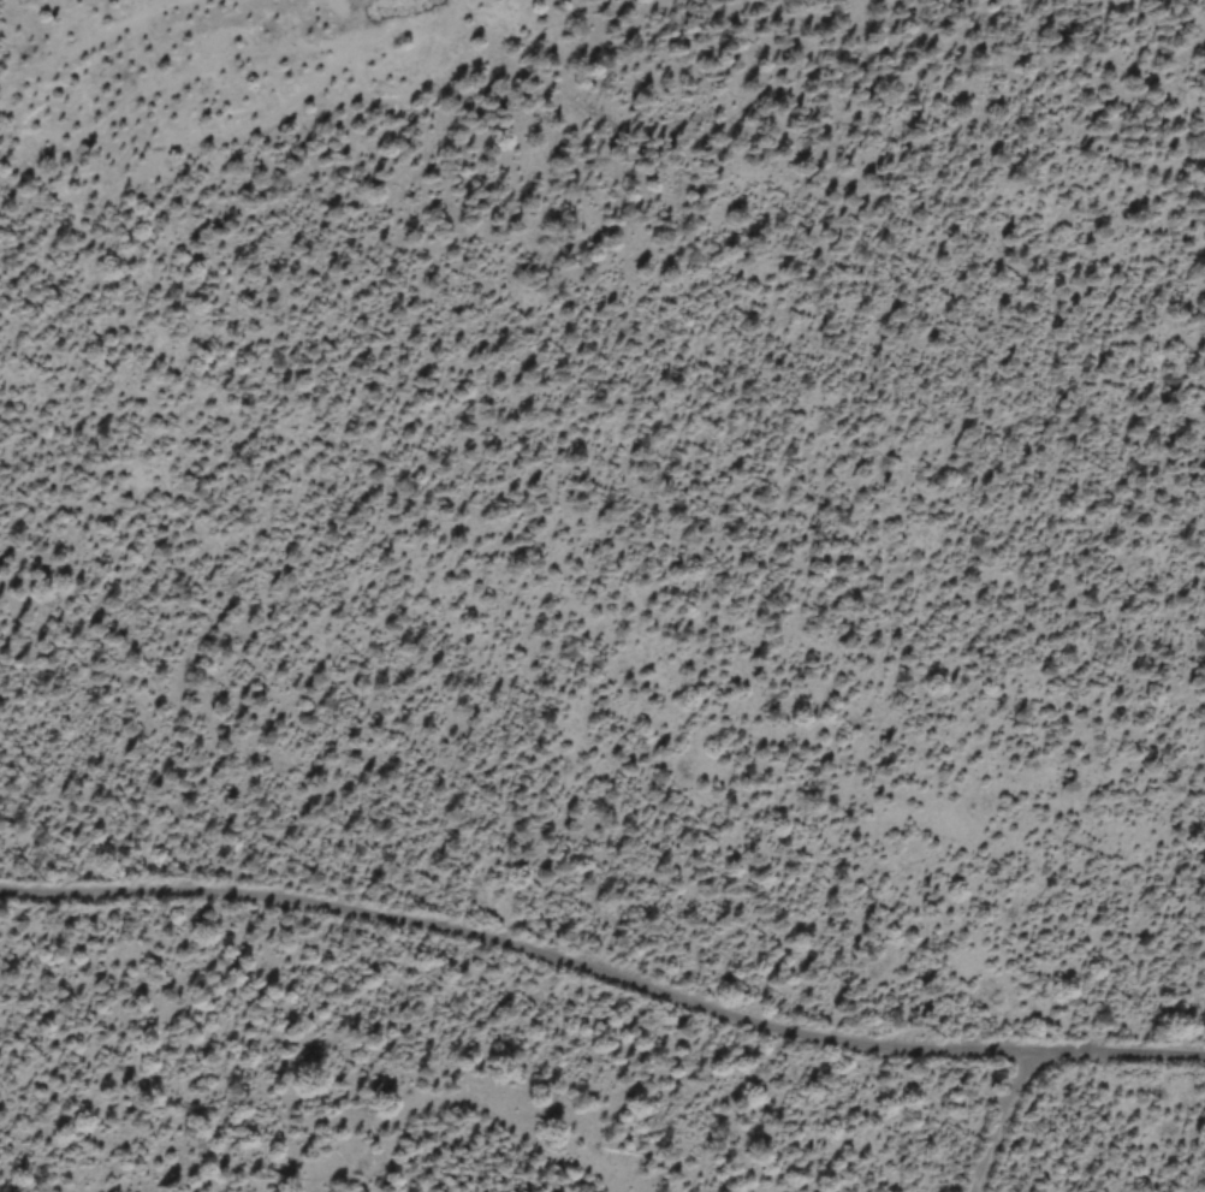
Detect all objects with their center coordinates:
road: (601, 975)
road: (1002, 1122)

